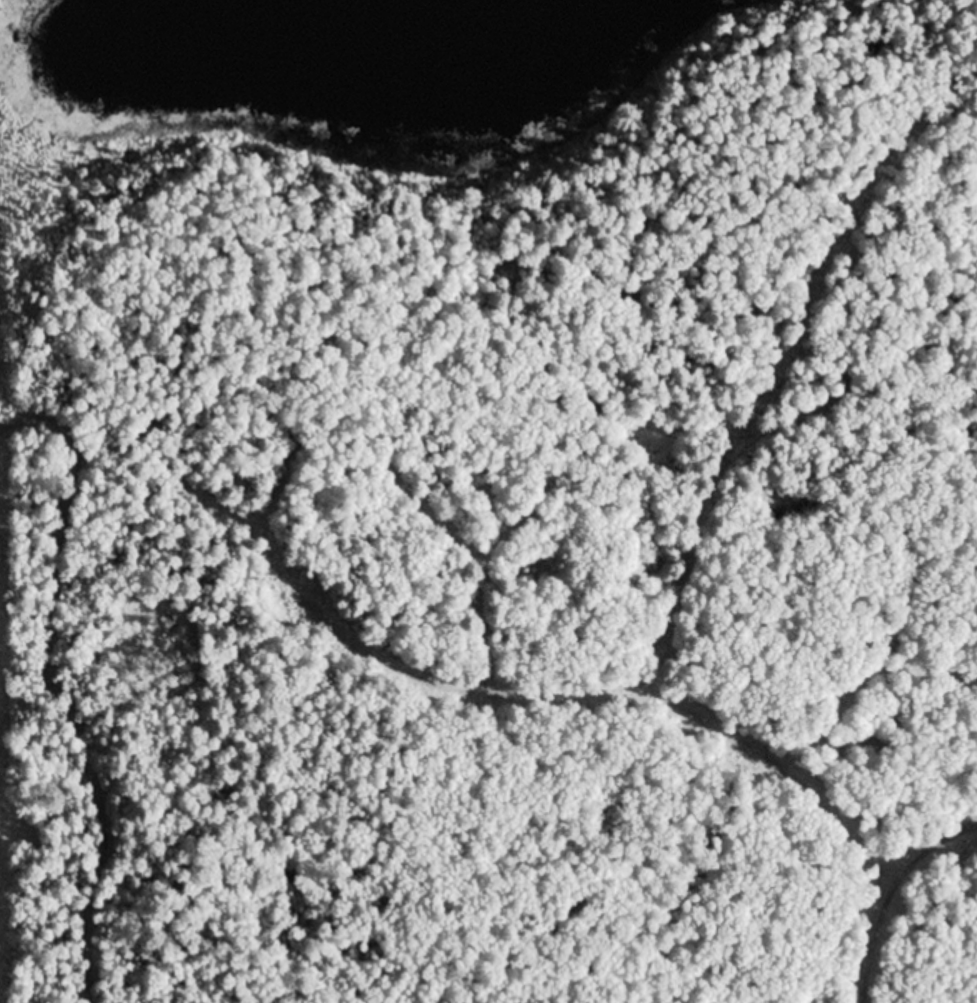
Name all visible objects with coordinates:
road: (757, 417)
road: (58, 690)
road: (601, 694)
road: (885, 888)

